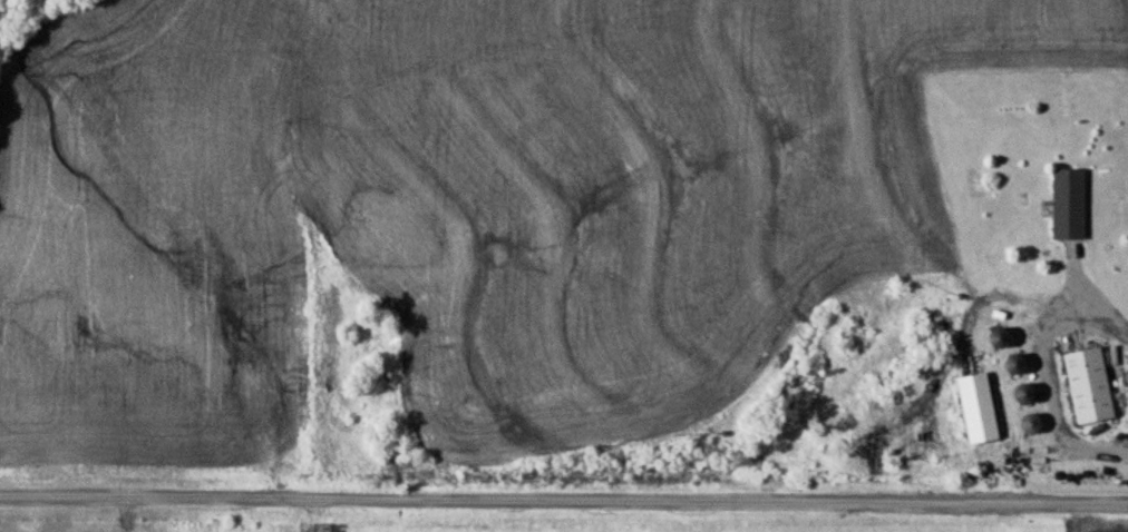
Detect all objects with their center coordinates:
building: (1071, 201)
building: (1091, 385)
building: (981, 407)
road: (564, 500)

